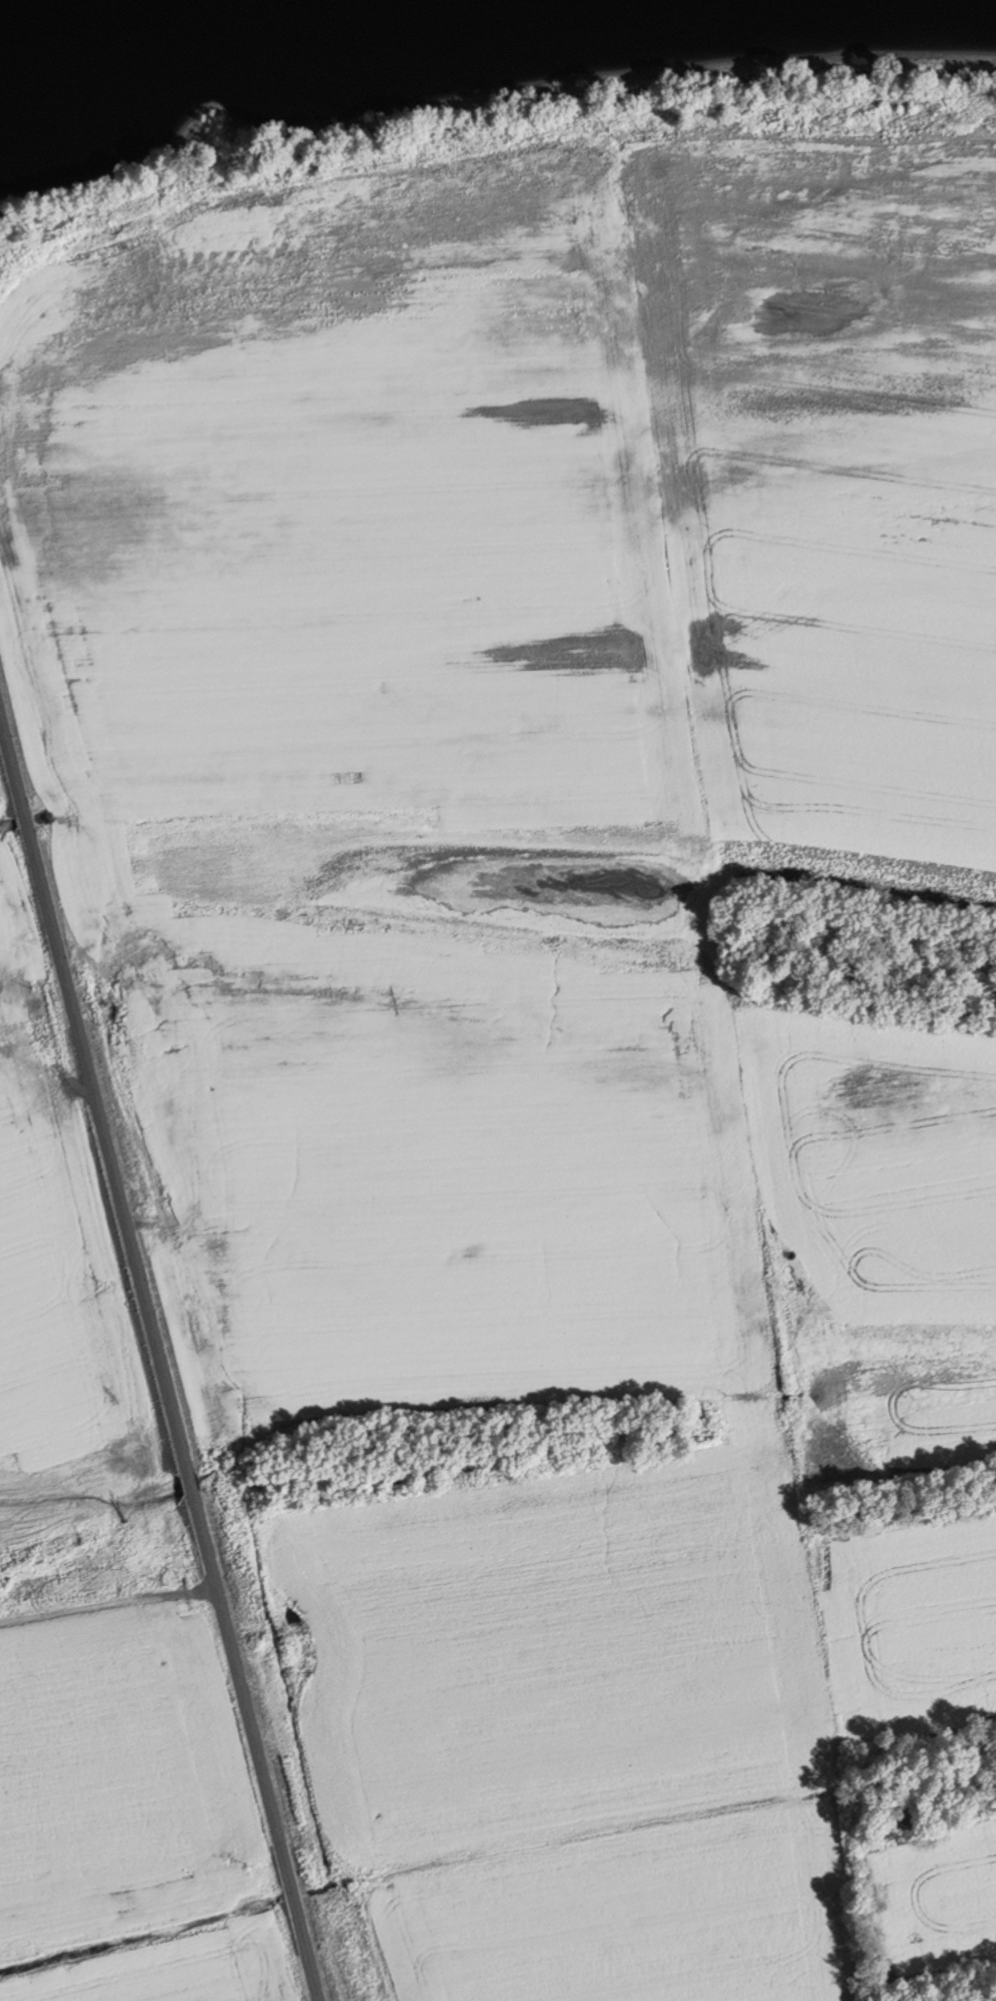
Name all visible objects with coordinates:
road: (160, 1359)

